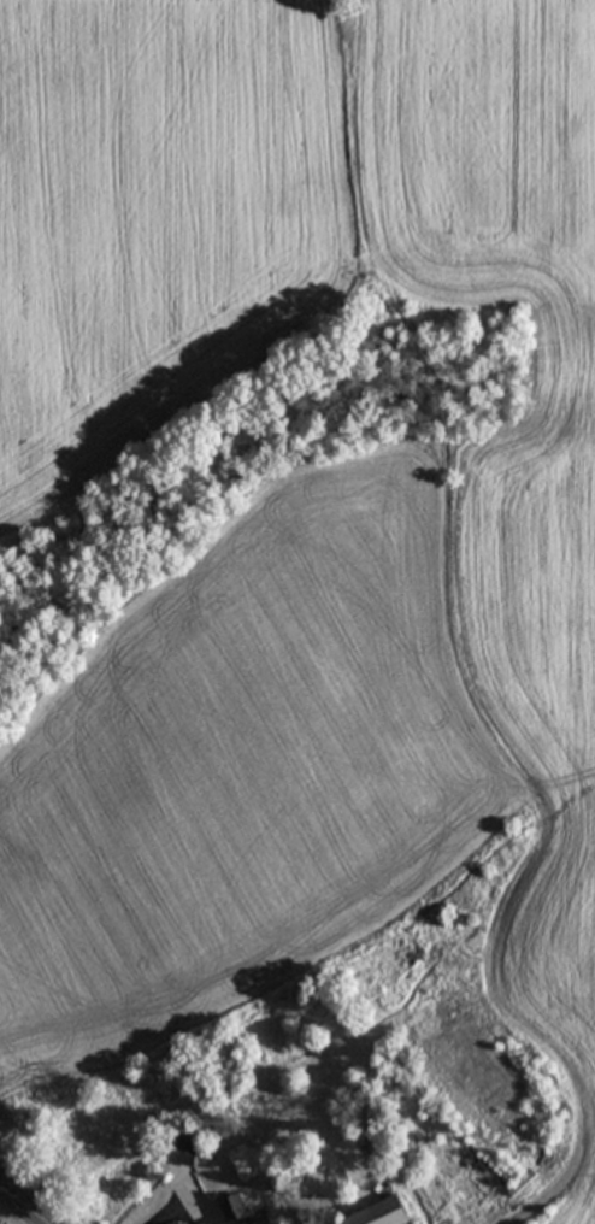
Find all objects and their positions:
building: (181, 1151)
road: (22, 1206)
building: (232, 1211)
building: (379, 1213)

